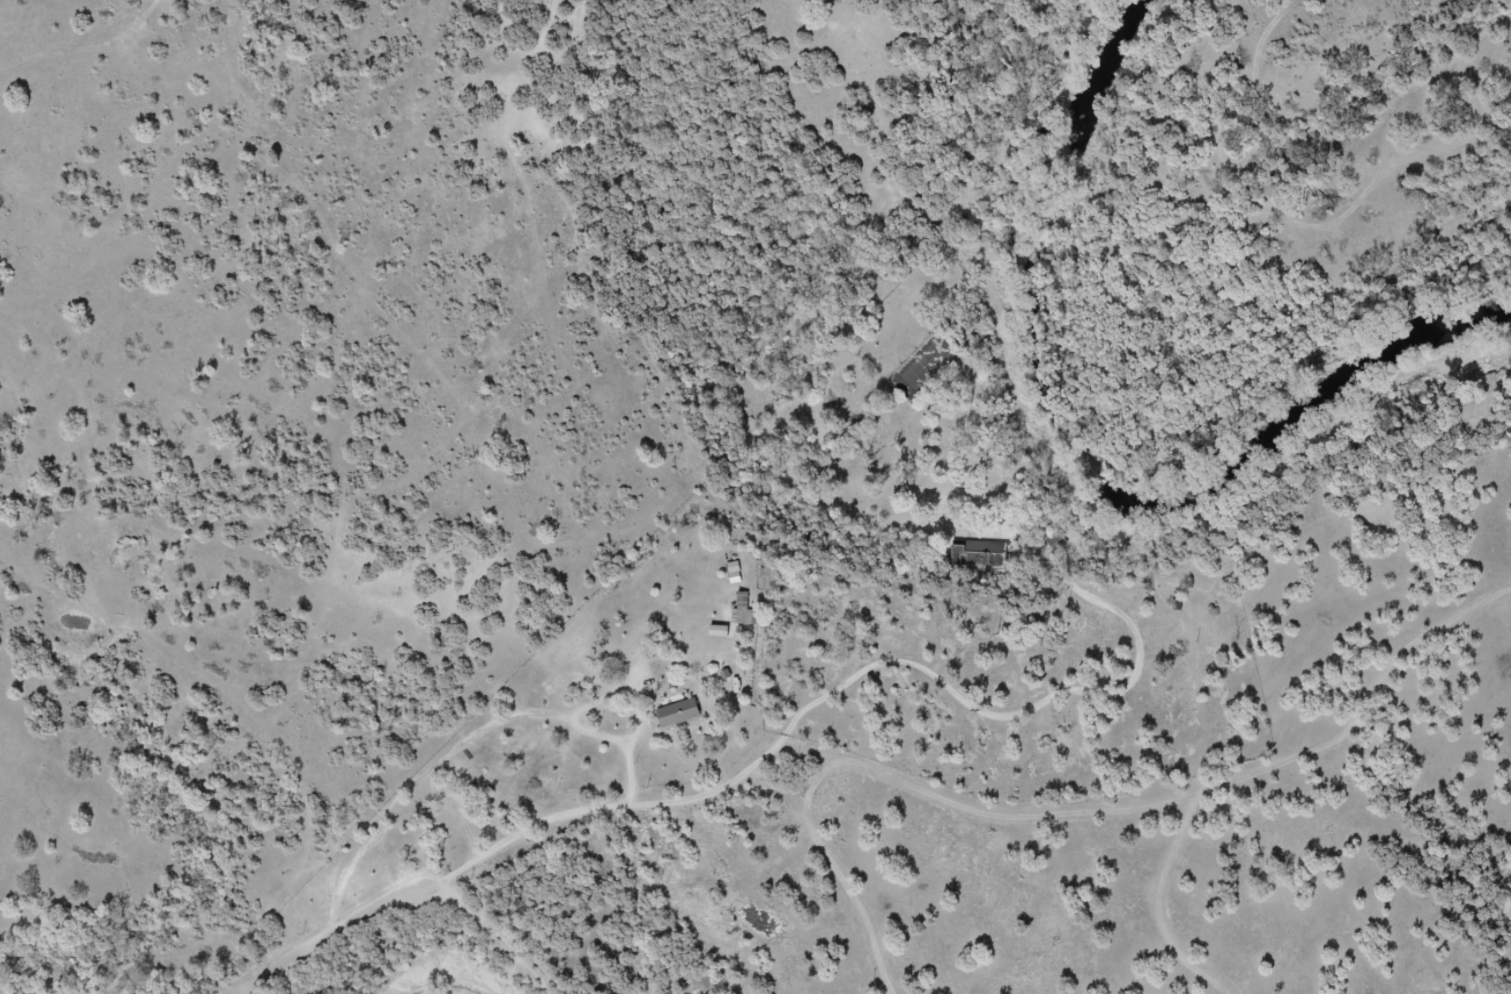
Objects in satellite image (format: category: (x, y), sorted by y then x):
building: (1058, 542)
building: (977, 563)
building: (735, 573)
building: (745, 613)
road: (637, 687)
road: (854, 687)
building: (686, 718)
road: (424, 778)
road: (349, 923)

